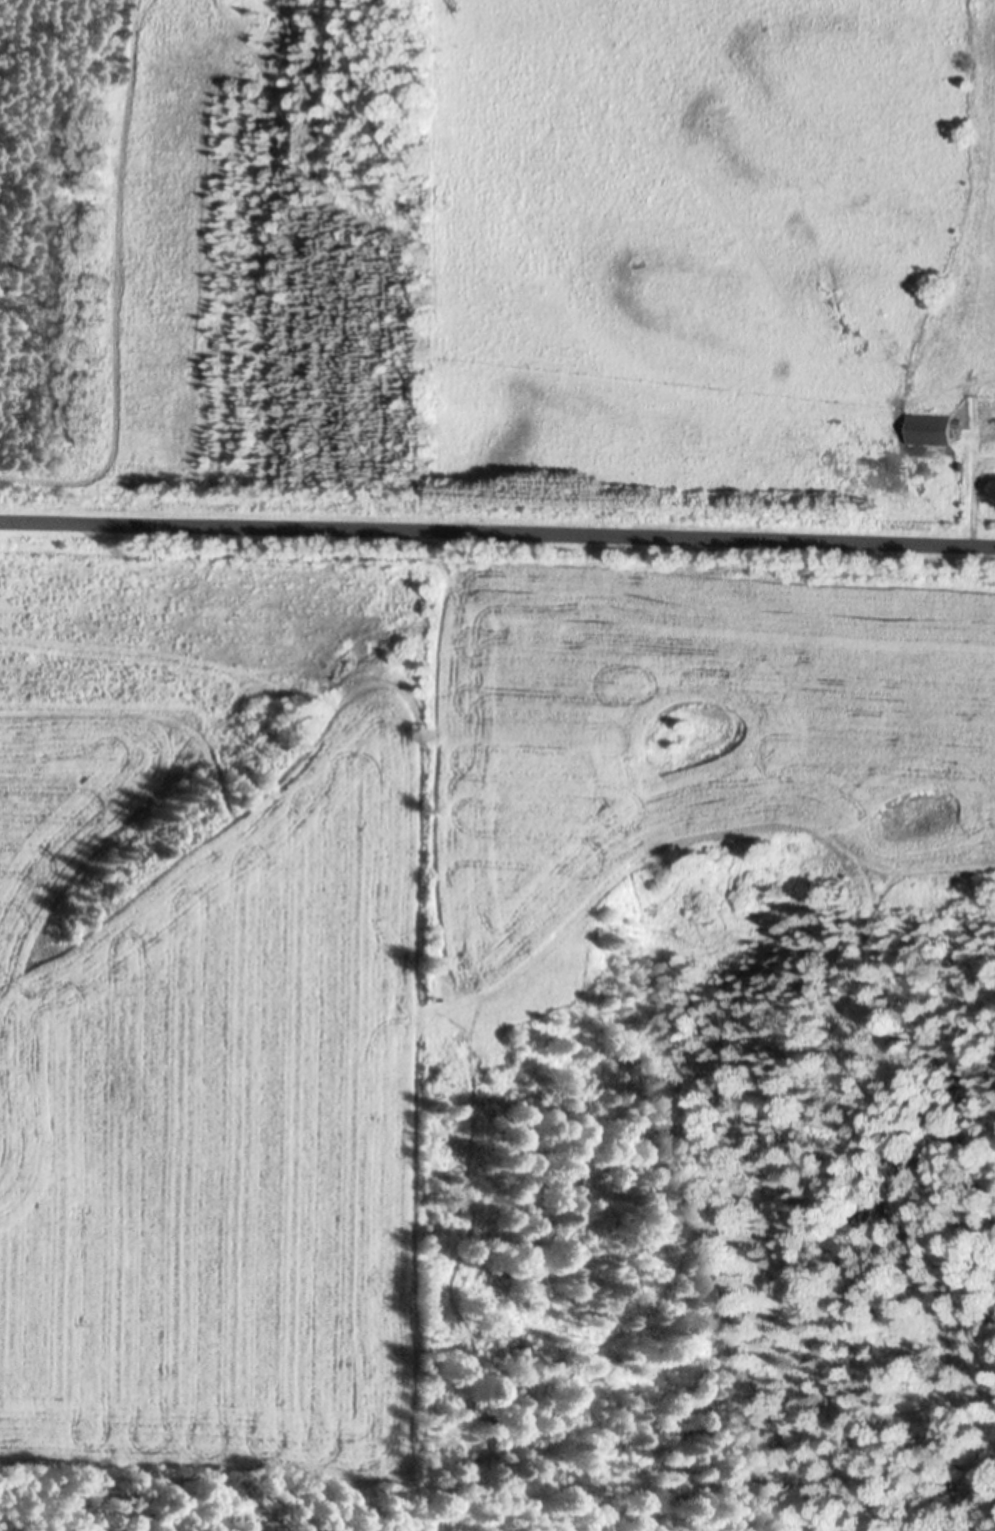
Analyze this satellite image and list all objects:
building: (933, 427)
road: (497, 532)

